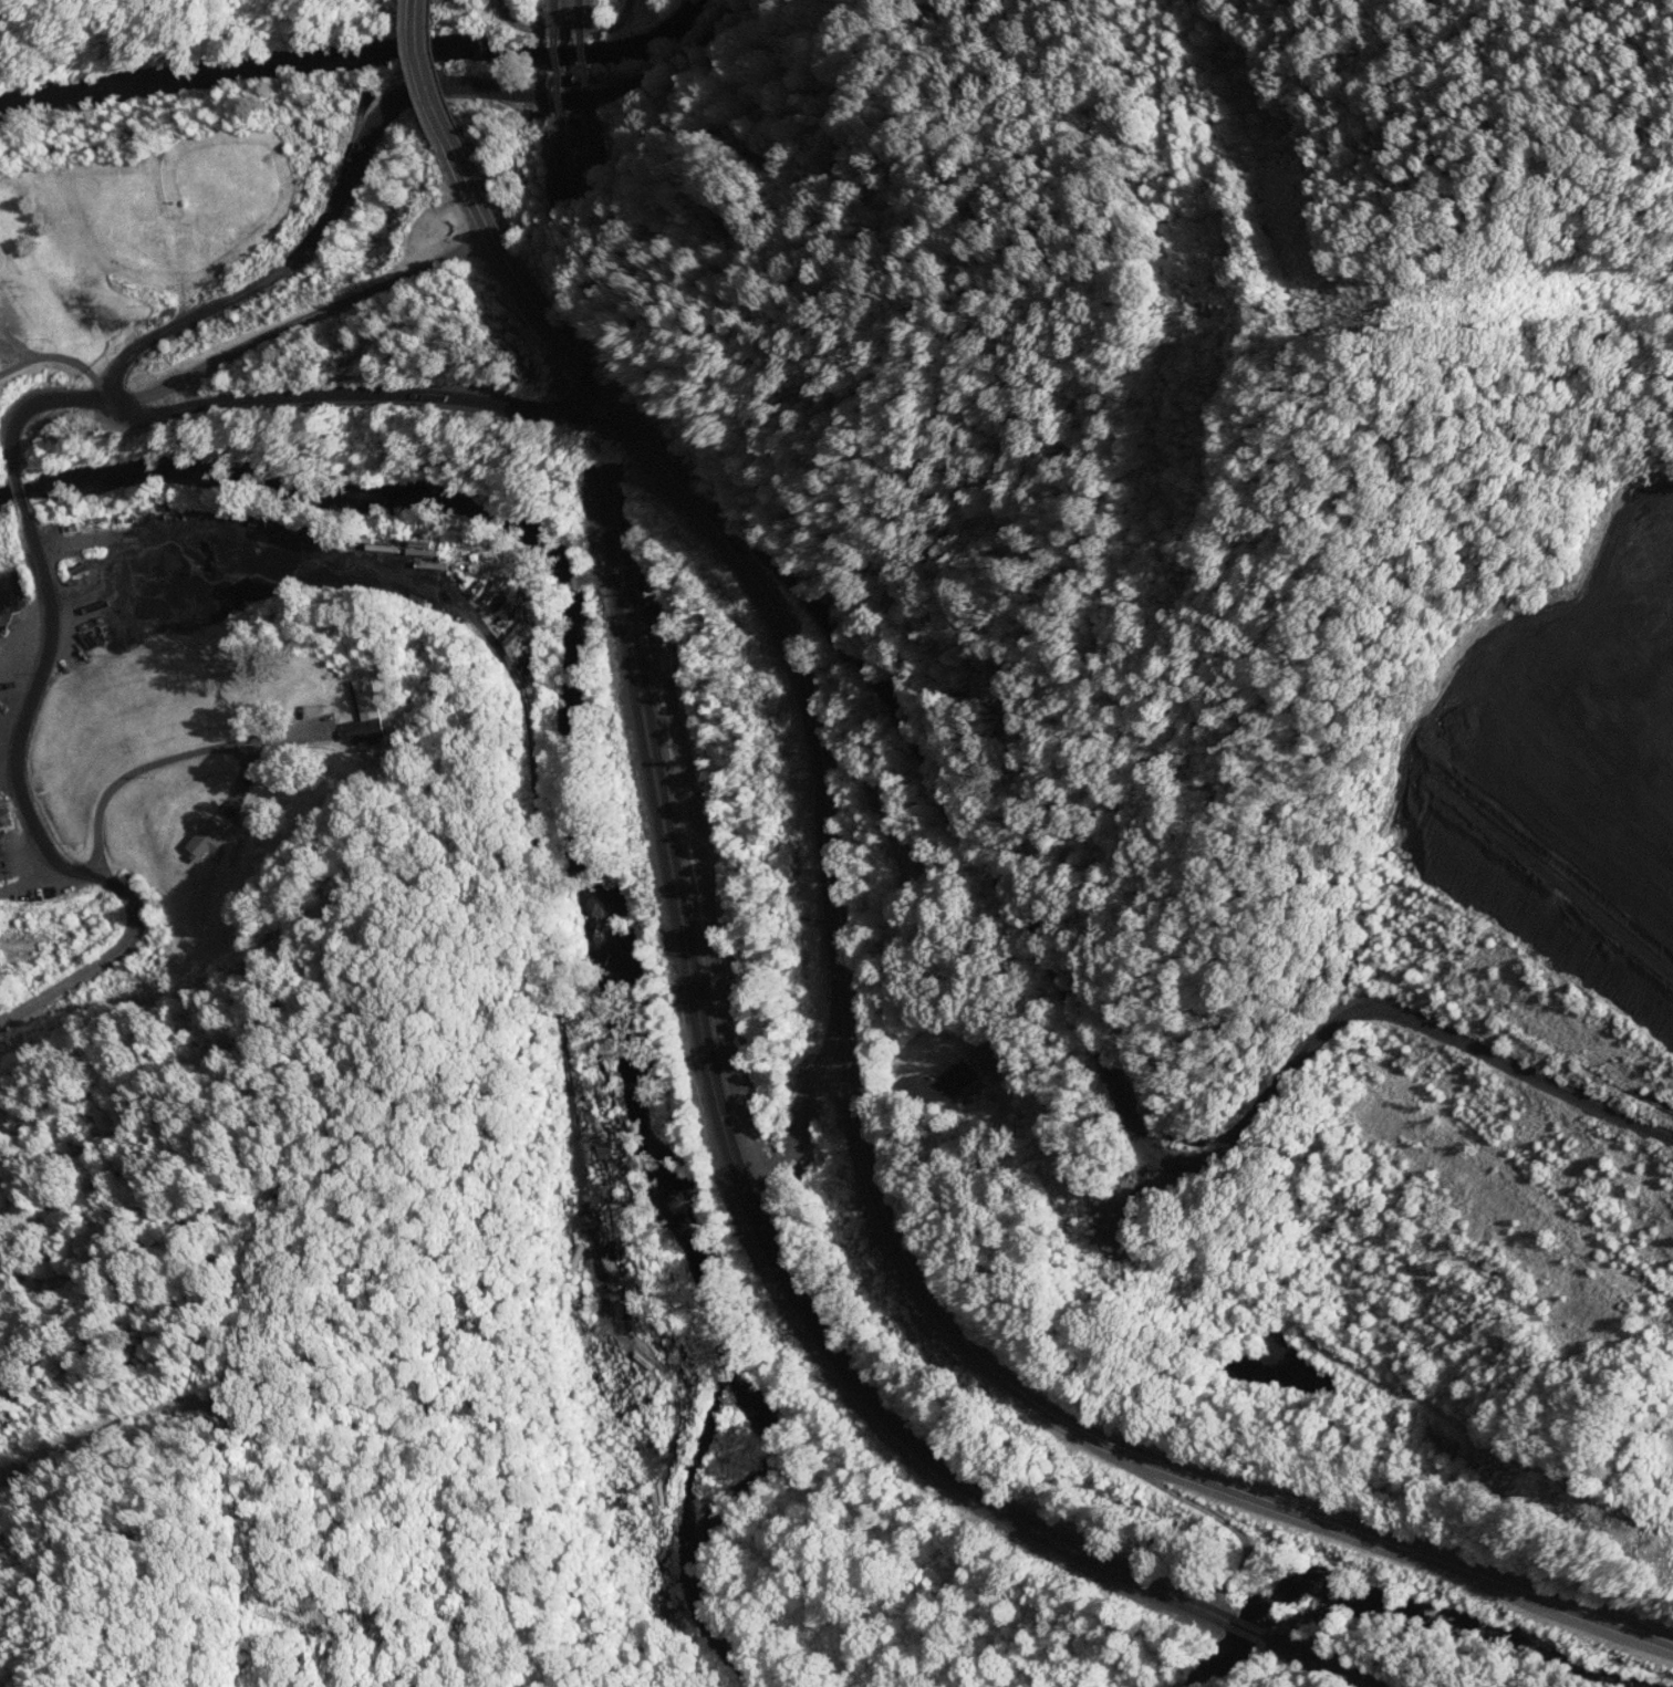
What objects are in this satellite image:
road: (415, 1)
road: (626, 6)
railway: (579, 11)
railway: (551, 12)
road: (729, 28)
road: (558, 31)
river: (366, 53)
railway: (581, 66)
railway: (555, 69)
road: (426, 79)
railway: (586, 155)
railway: (564, 157)
building: (4, 239)
road: (266, 410)
road: (230, 509)
building: (84, 523)
building: (303, 704)
road: (27, 706)
building: (365, 727)
road: (200, 752)
road: (66, 766)
quarry: (1557, 811)
road: (38, 821)
building: (206, 837)
river: (584, 856)
building: (948, 1083)
road: (860, 1089)
railway: (752, 1228)
railway: (767, 1233)
road: (1269, 1356)
quarry: (1656, 1406)

